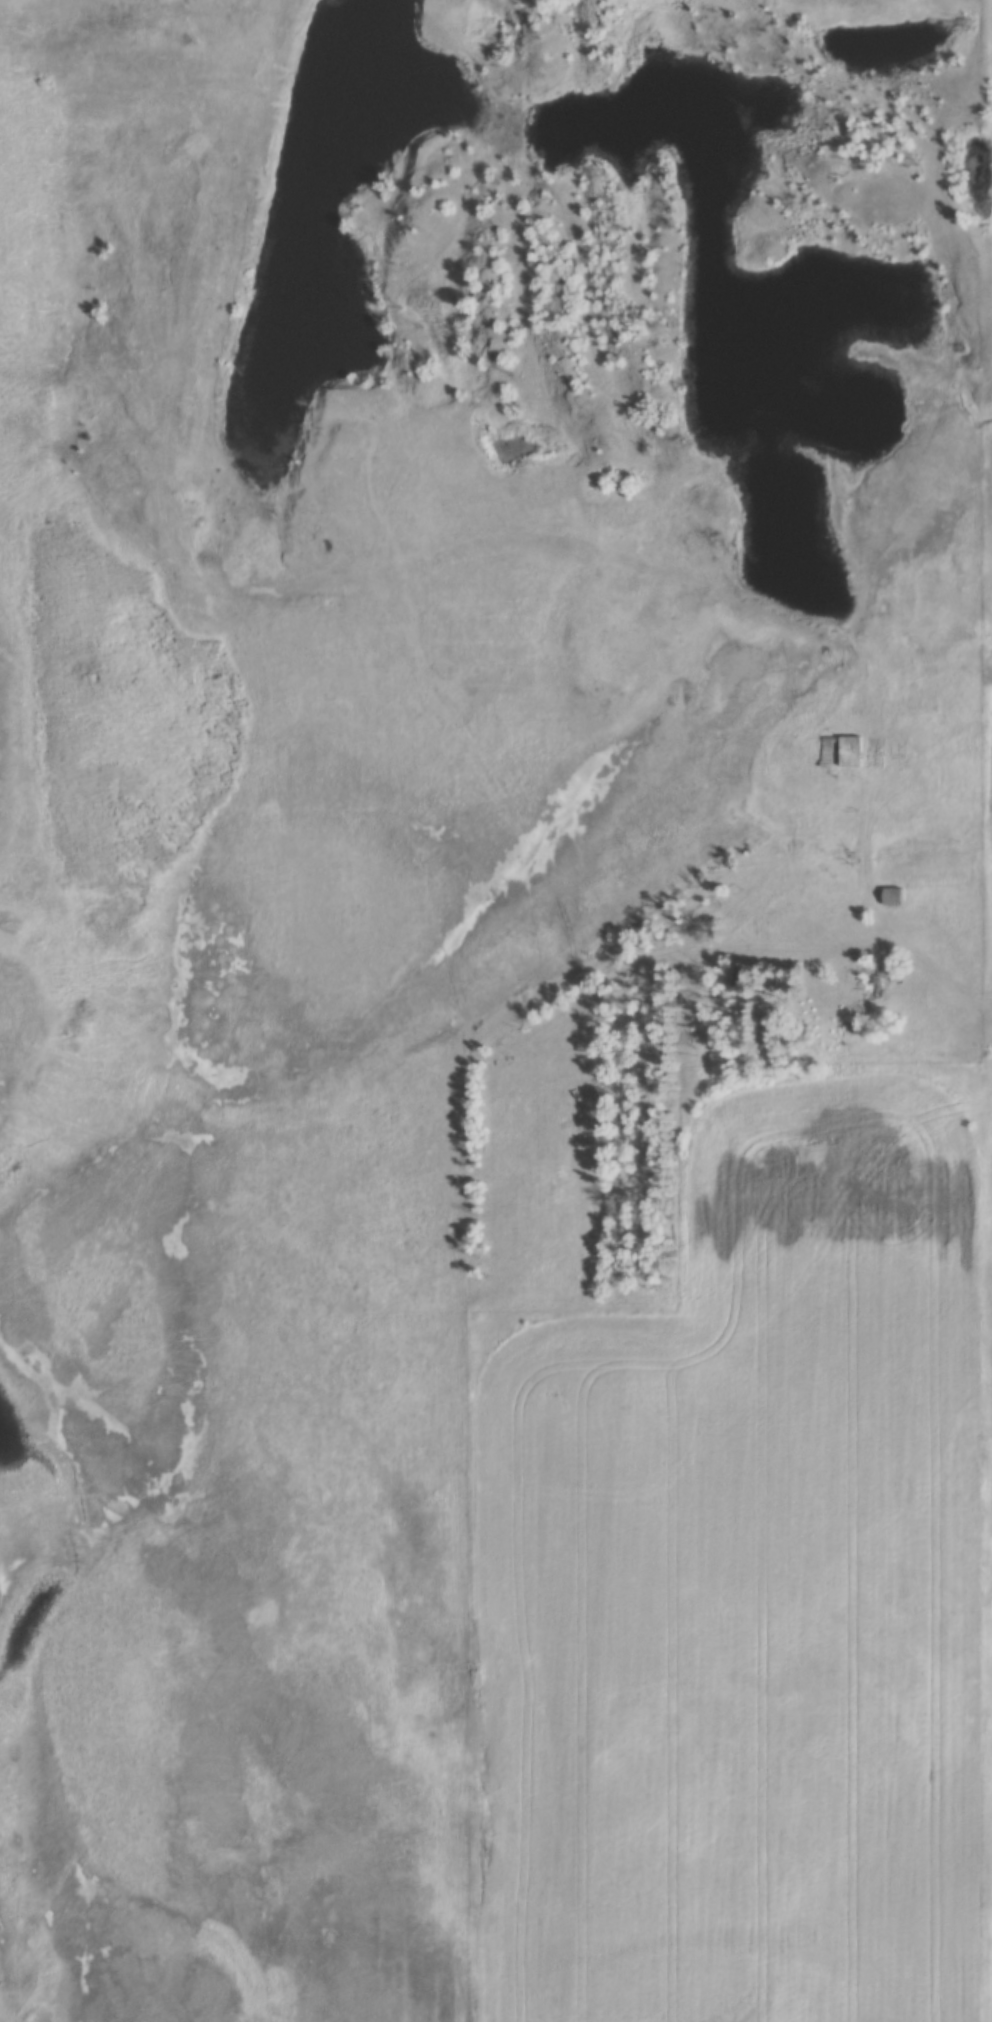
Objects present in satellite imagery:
building: (844, 753)
building: (893, 897)
road: (844, 942)

